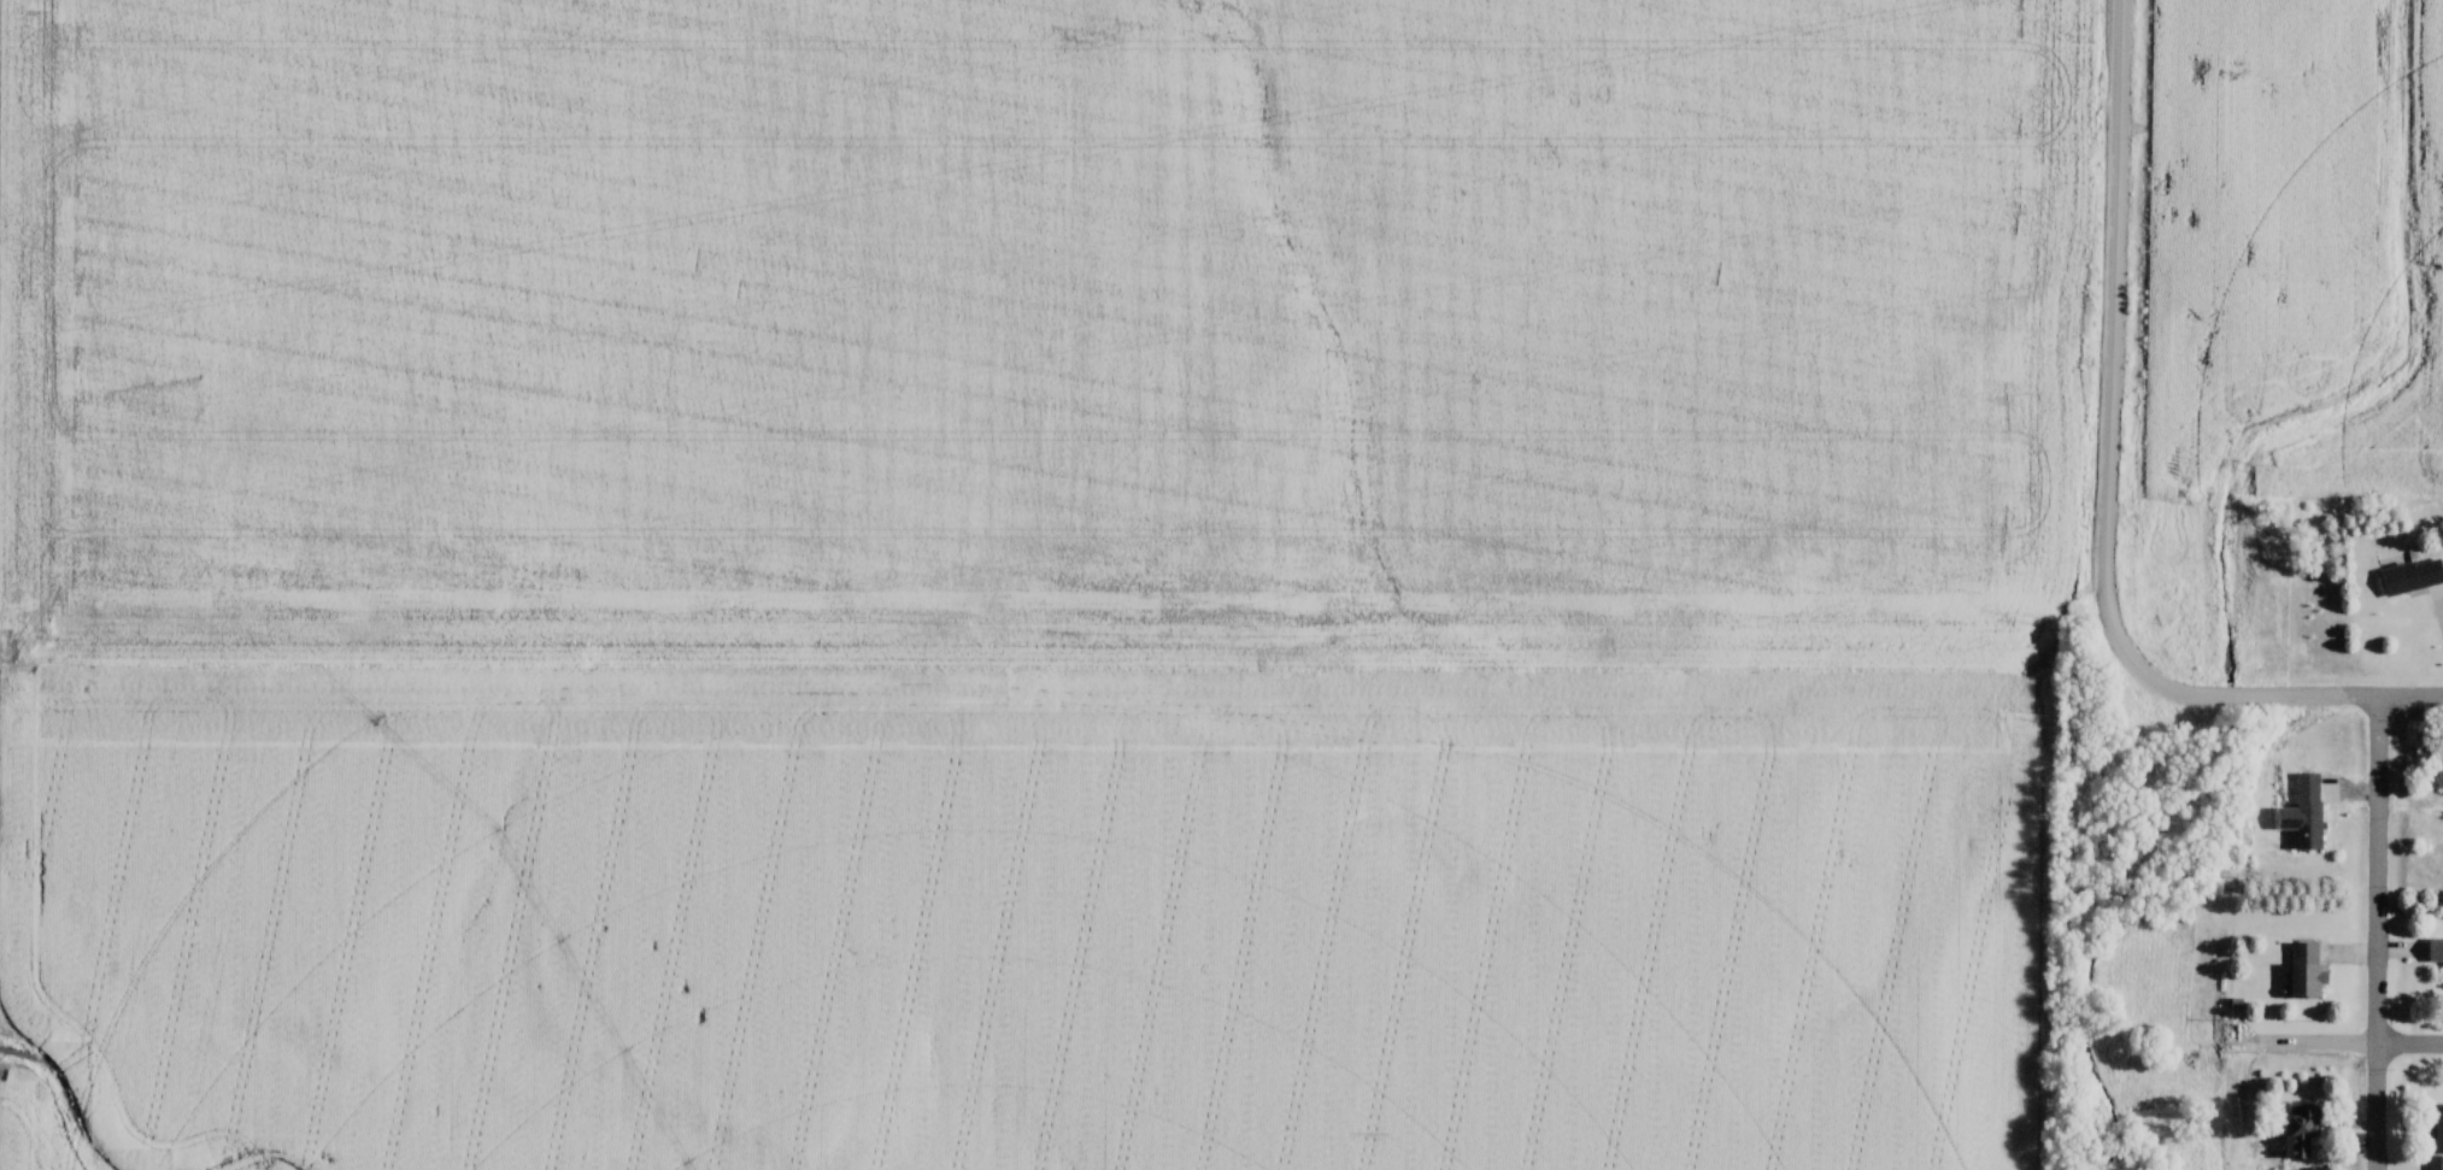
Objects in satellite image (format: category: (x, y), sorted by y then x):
road: (2115, 334)
building: (2413, 577)
road: (2283, 698)
building: (2439, 769)
building: (2310, 825)
road: (2380, 934)
building: (2436, 951)
building: (2306, 970)
road: (2319, 1042)
road: (2412, 1042)
building: (2301, 1130)
building: (2436, 1137)

